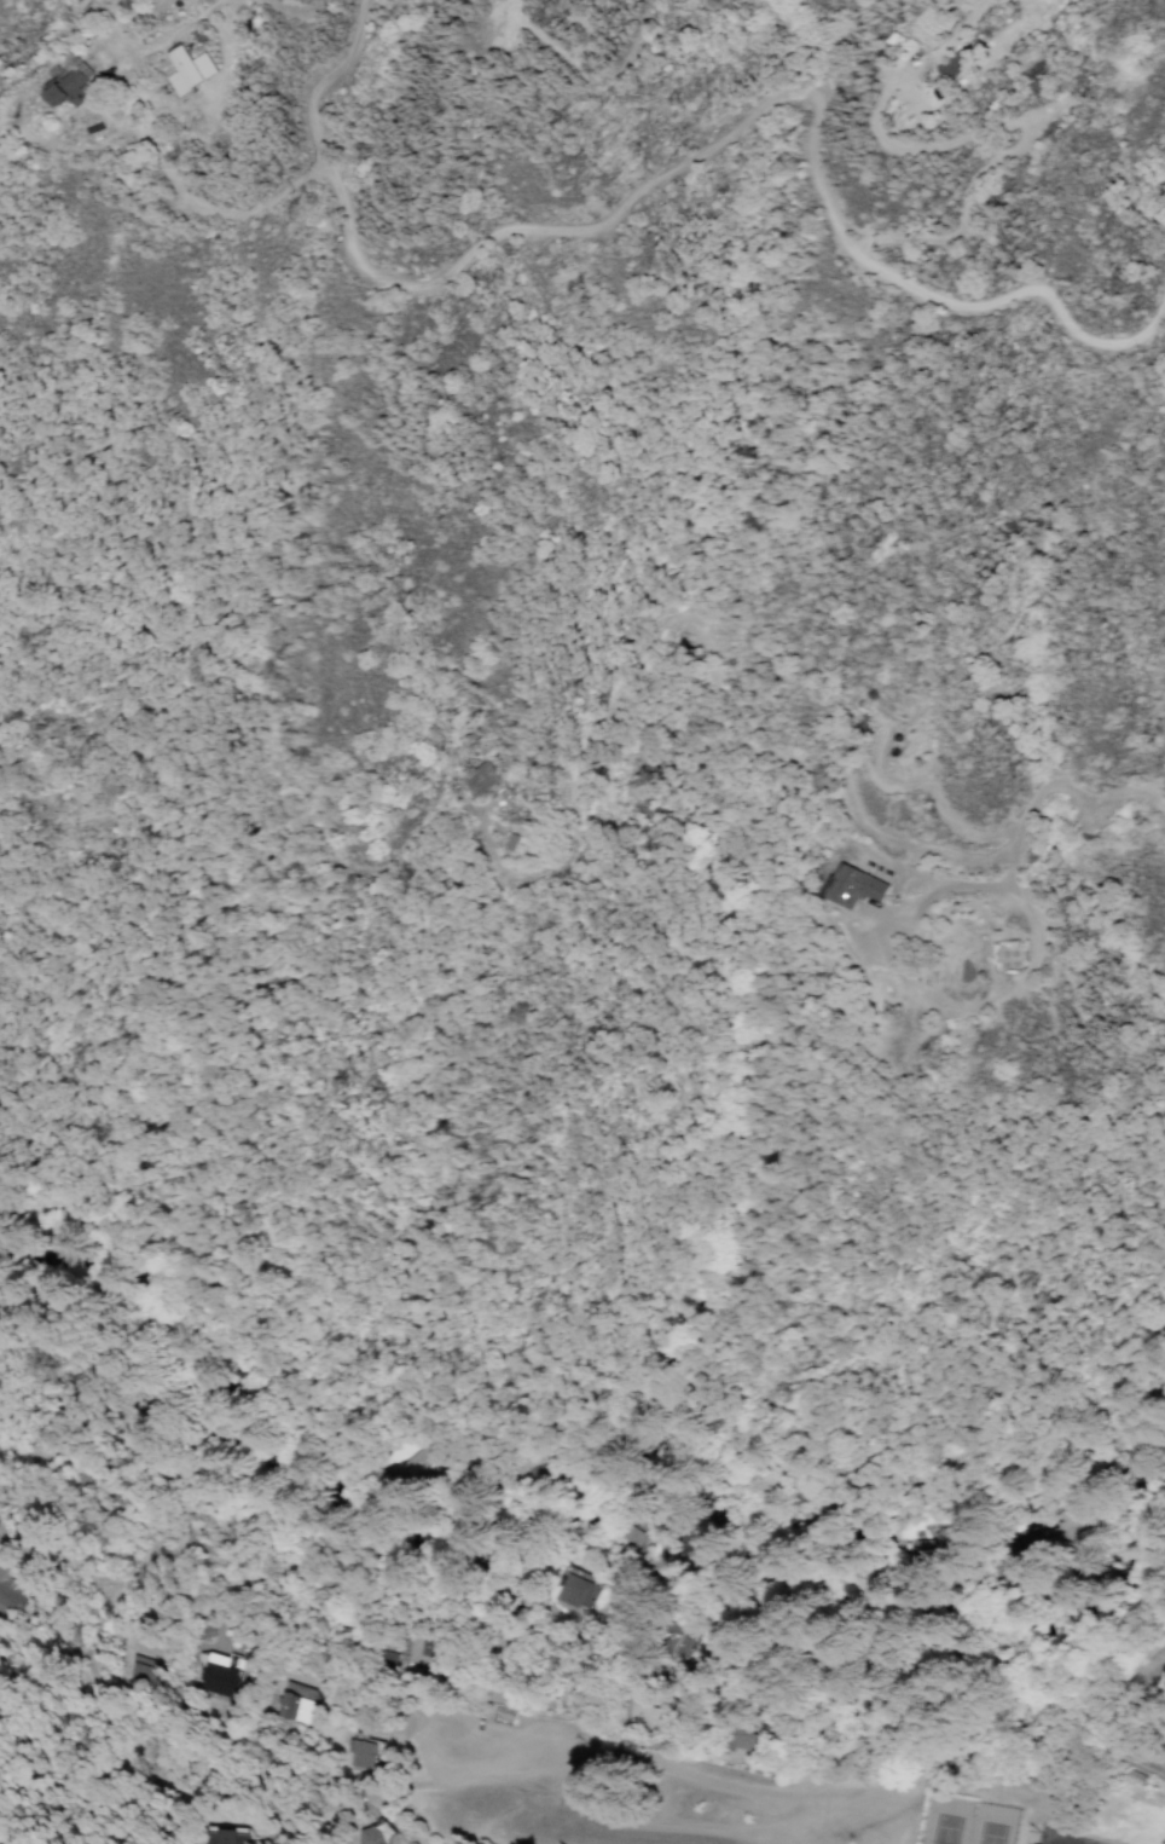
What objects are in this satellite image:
road: (226, 1)
road: (65, 8)
road: (295, 12)
road: (504, 21)
road: (106, 25)
road: (163, 39)
road: (947, 39)
building: (190, 68)
building: (64, 92)
road: (1030, 128)
road: (151, 146)
road: (696, 154)
building: (480, 779)
building: (510, 842)
road: (1018, 848)
building: (853, 888)
building: (10, 1591)
building: (575, 1591)
road: (574, 1622)
building: (218, 1671)
building: (301, 1709)
building: (369, 1755)
park: (970, 1822)
building: (216, 1836)
building: (373, 1836)
park: (1067, 1838)

